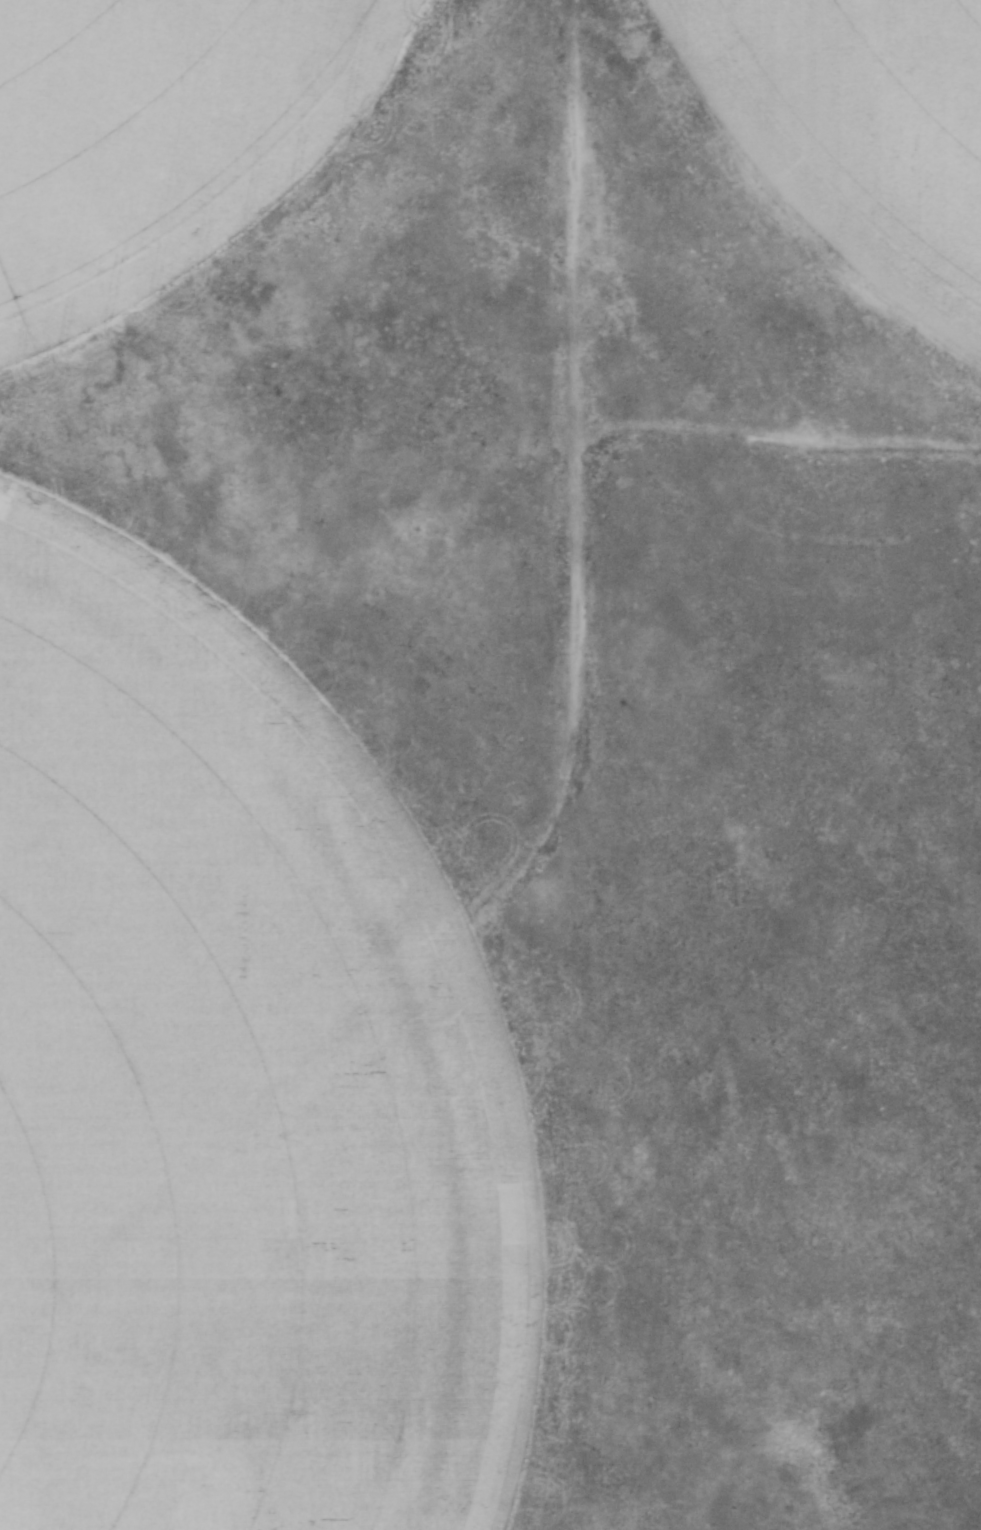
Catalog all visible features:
crop: (154, 124)
crop: (861, 126)
crop: (228, 1091)

